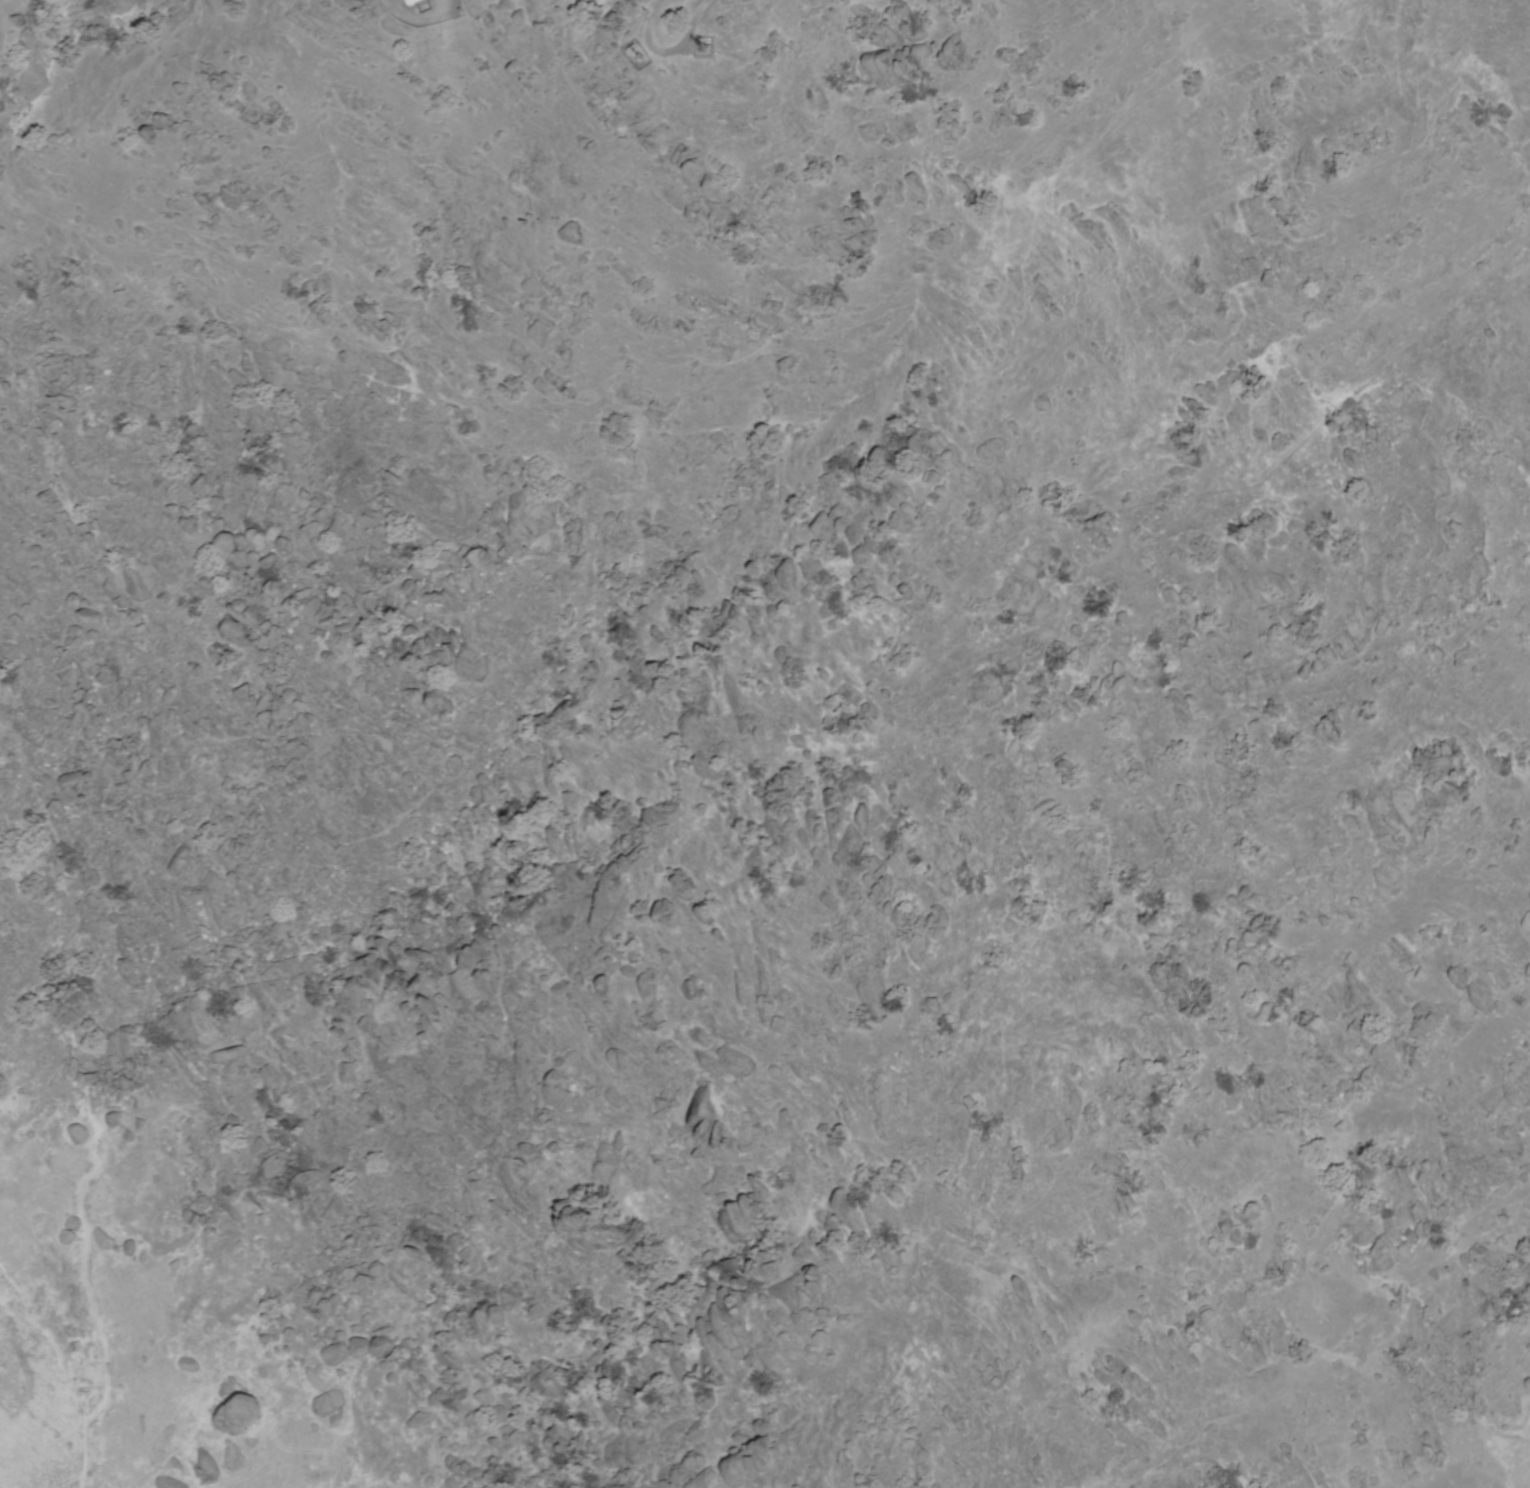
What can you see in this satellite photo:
building: (411, 1)
road: (415, 15)
road: (666, 53)
crop: (1510, 1468)

